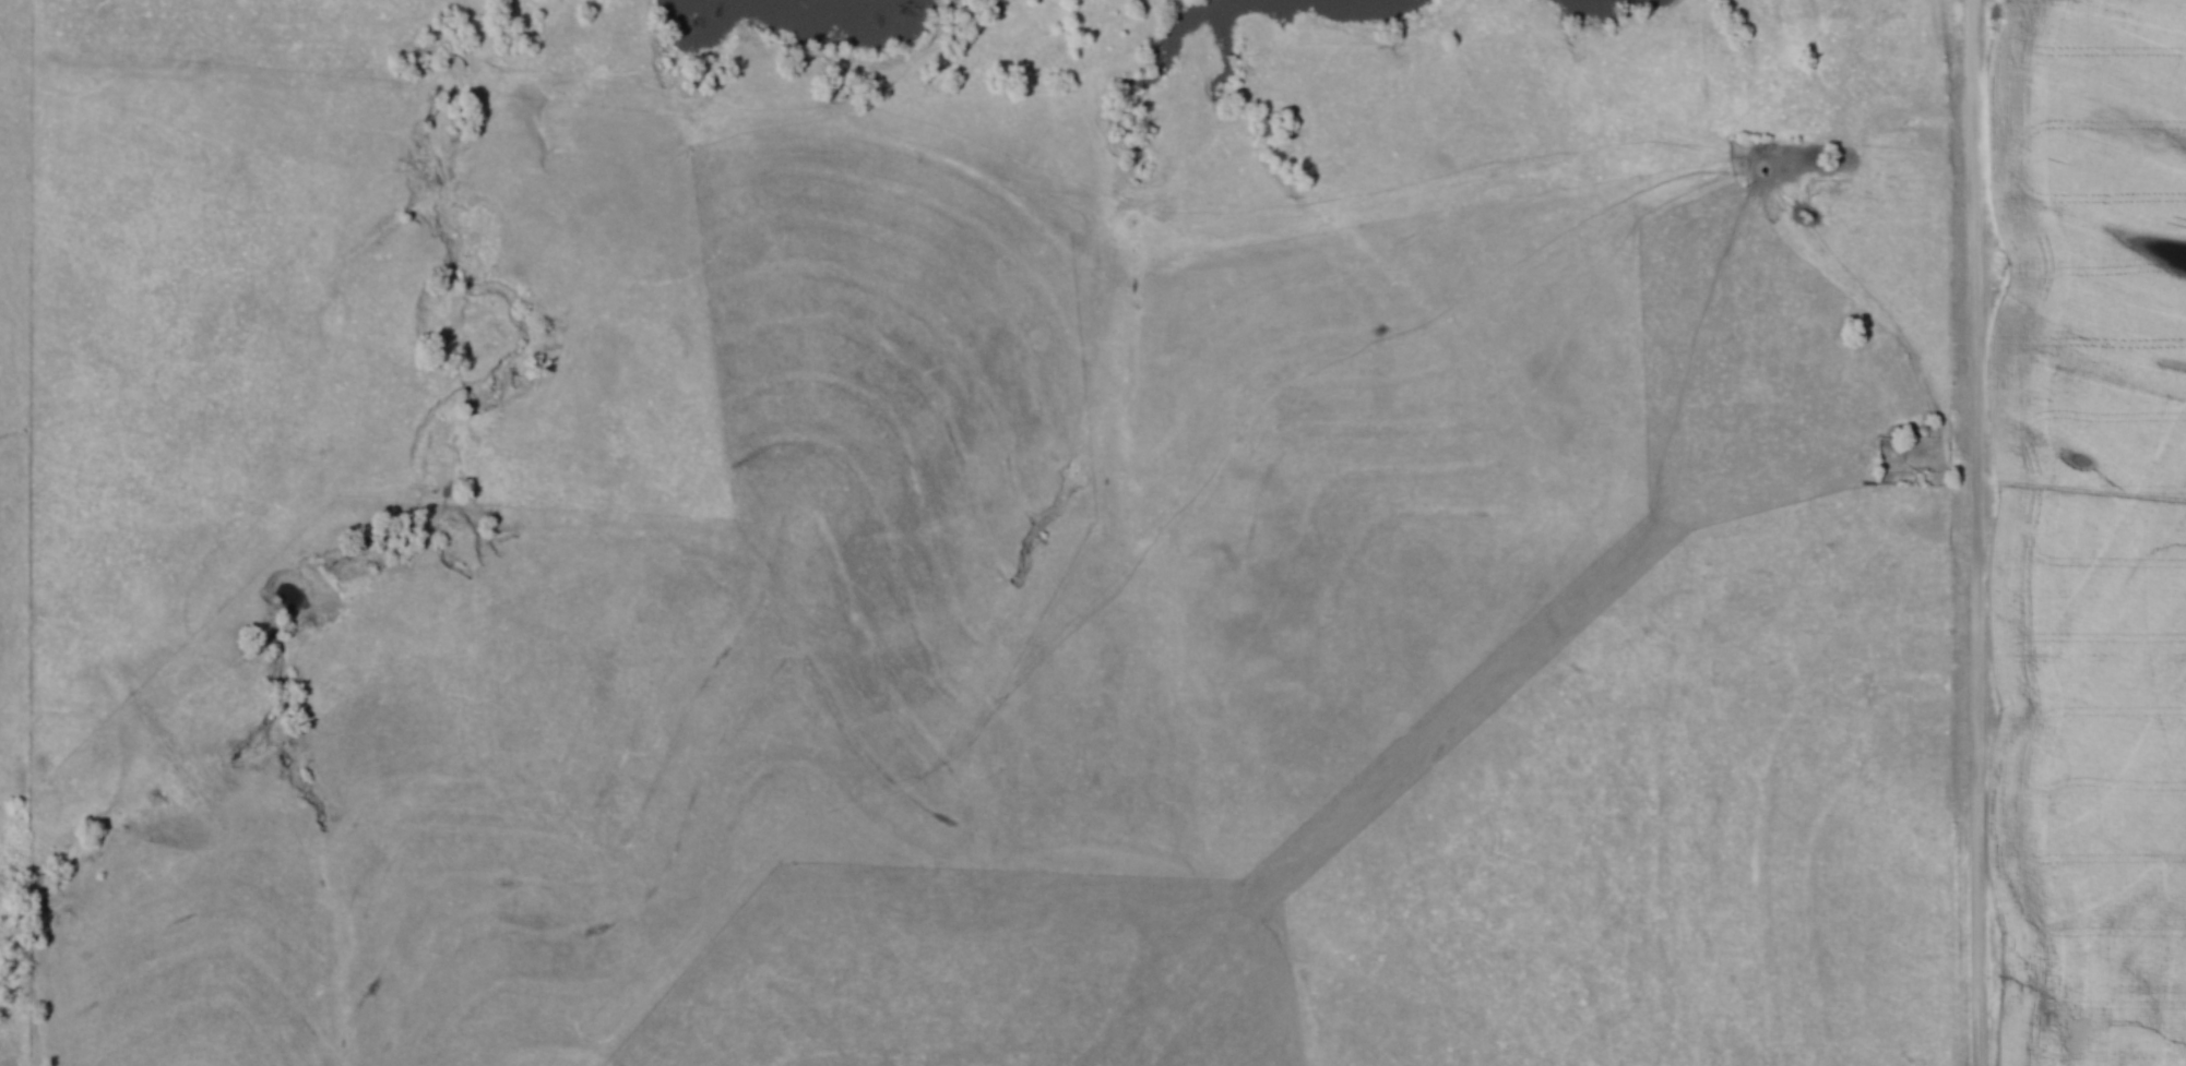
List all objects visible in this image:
road: (1976, 532)

